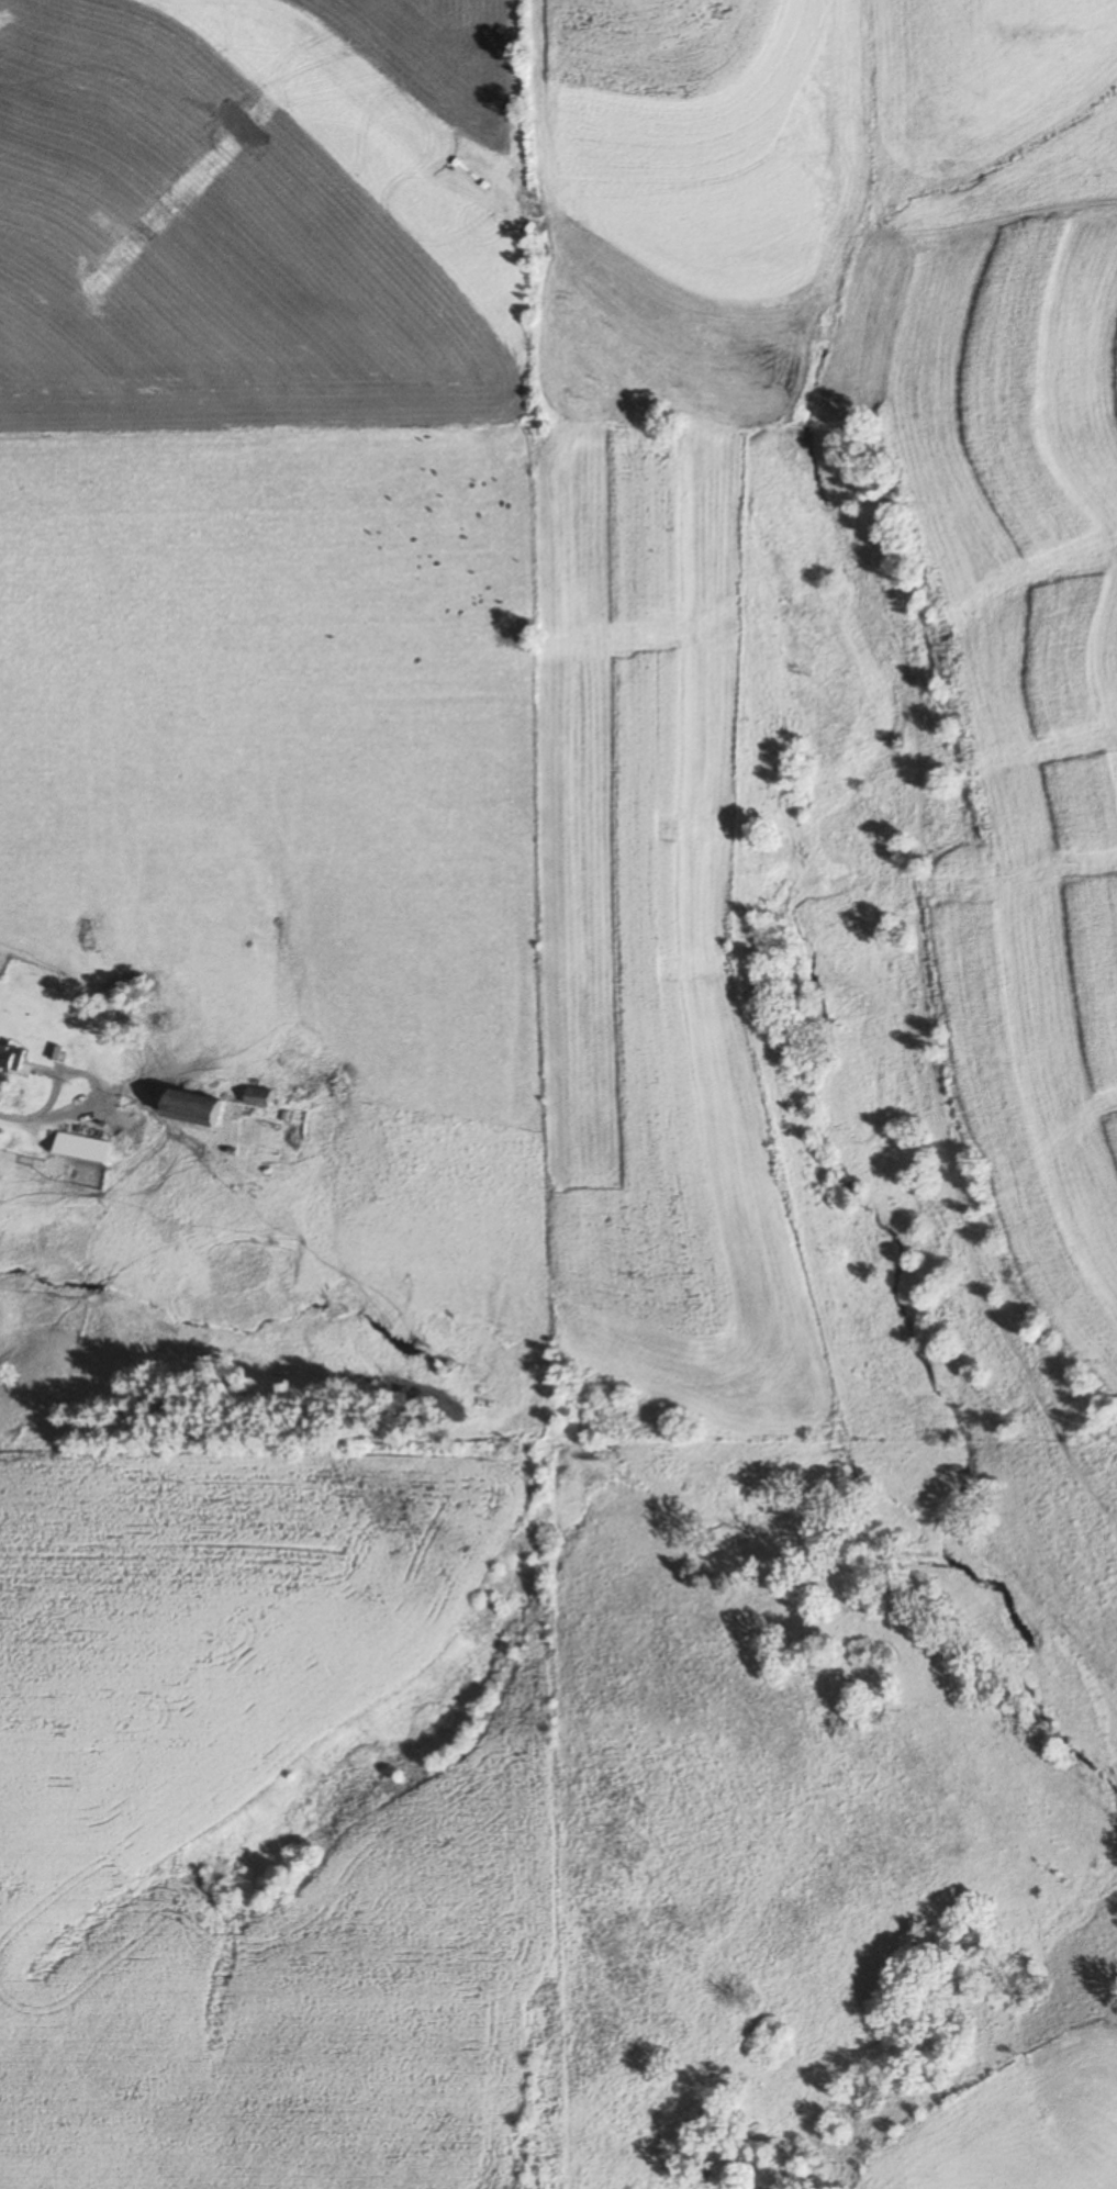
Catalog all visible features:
building: (9, 1060)
building: (258, 1098)
building: (191, 1109)
road: (9, 1128)
building: (79, 1146)

